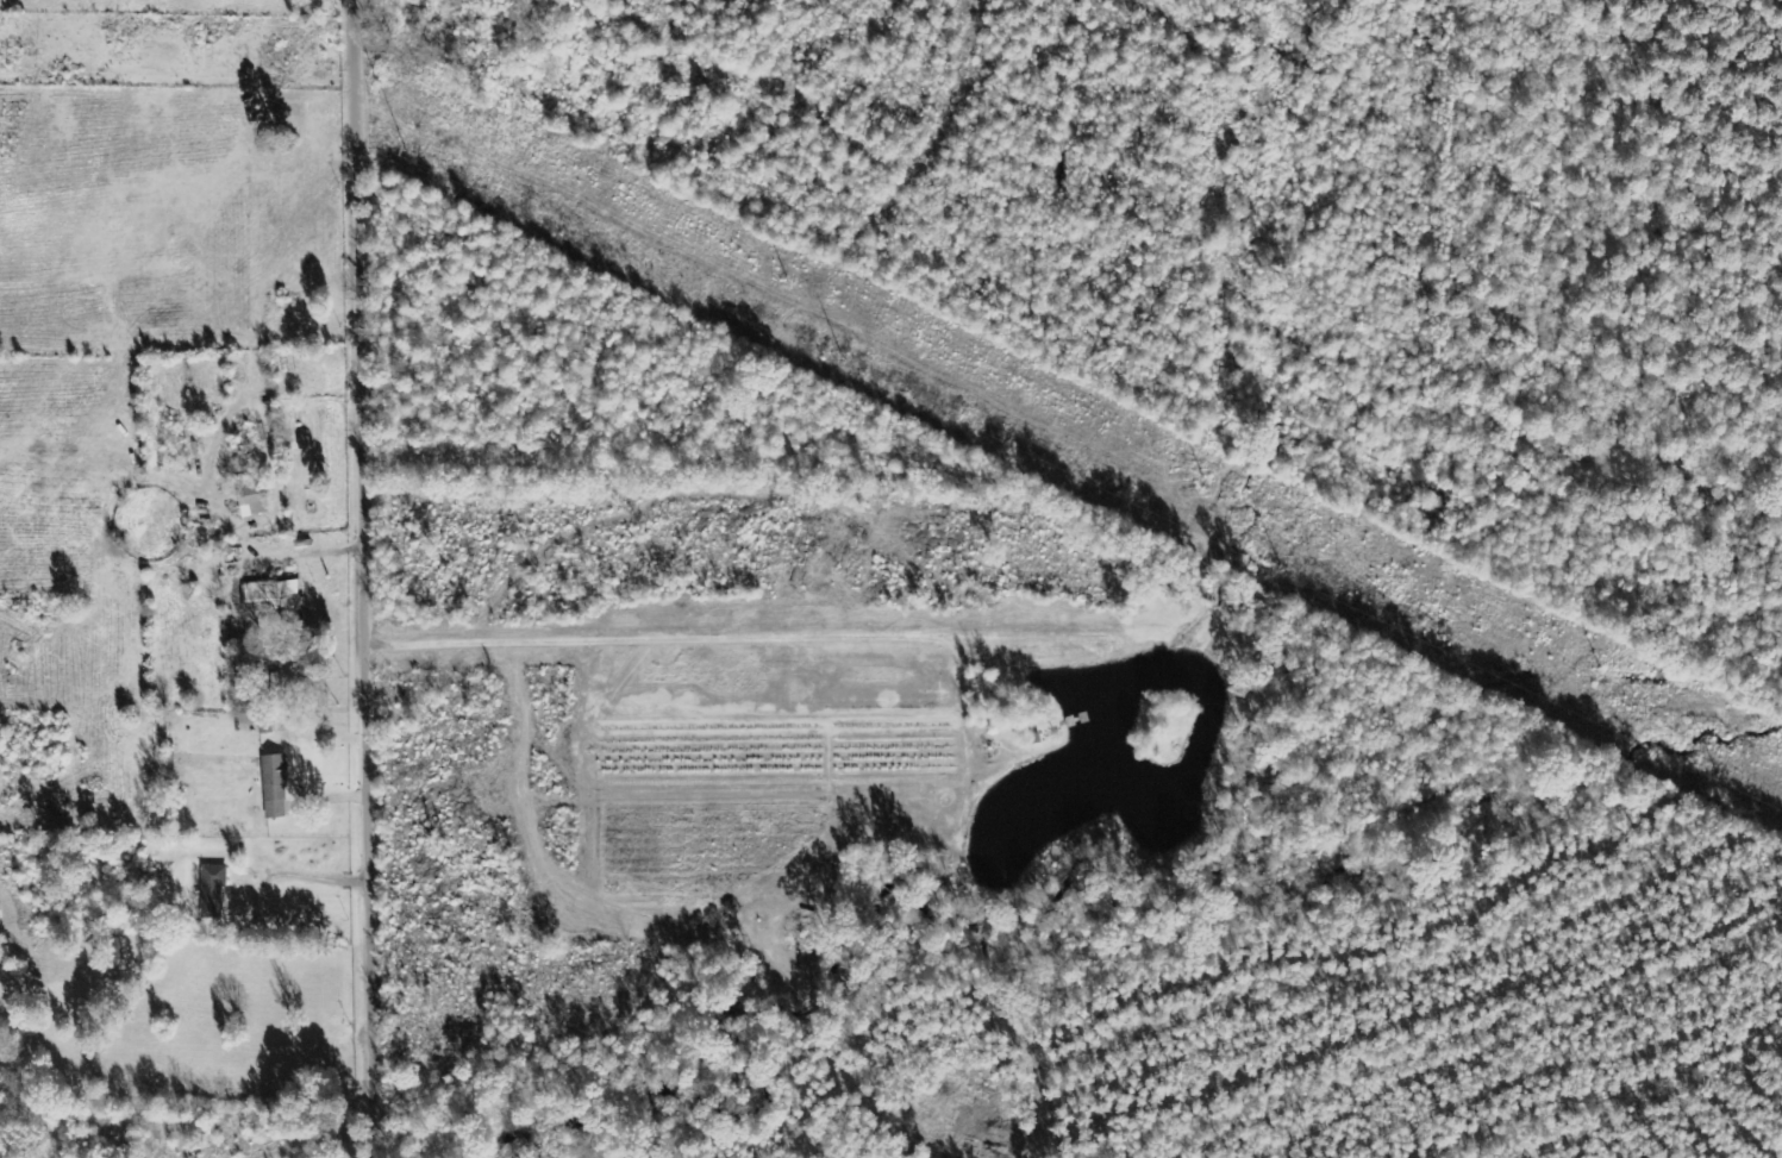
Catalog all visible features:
building: (252, 497)
road: (365, 578)
building: (275, 787)
building: (213, 891)

